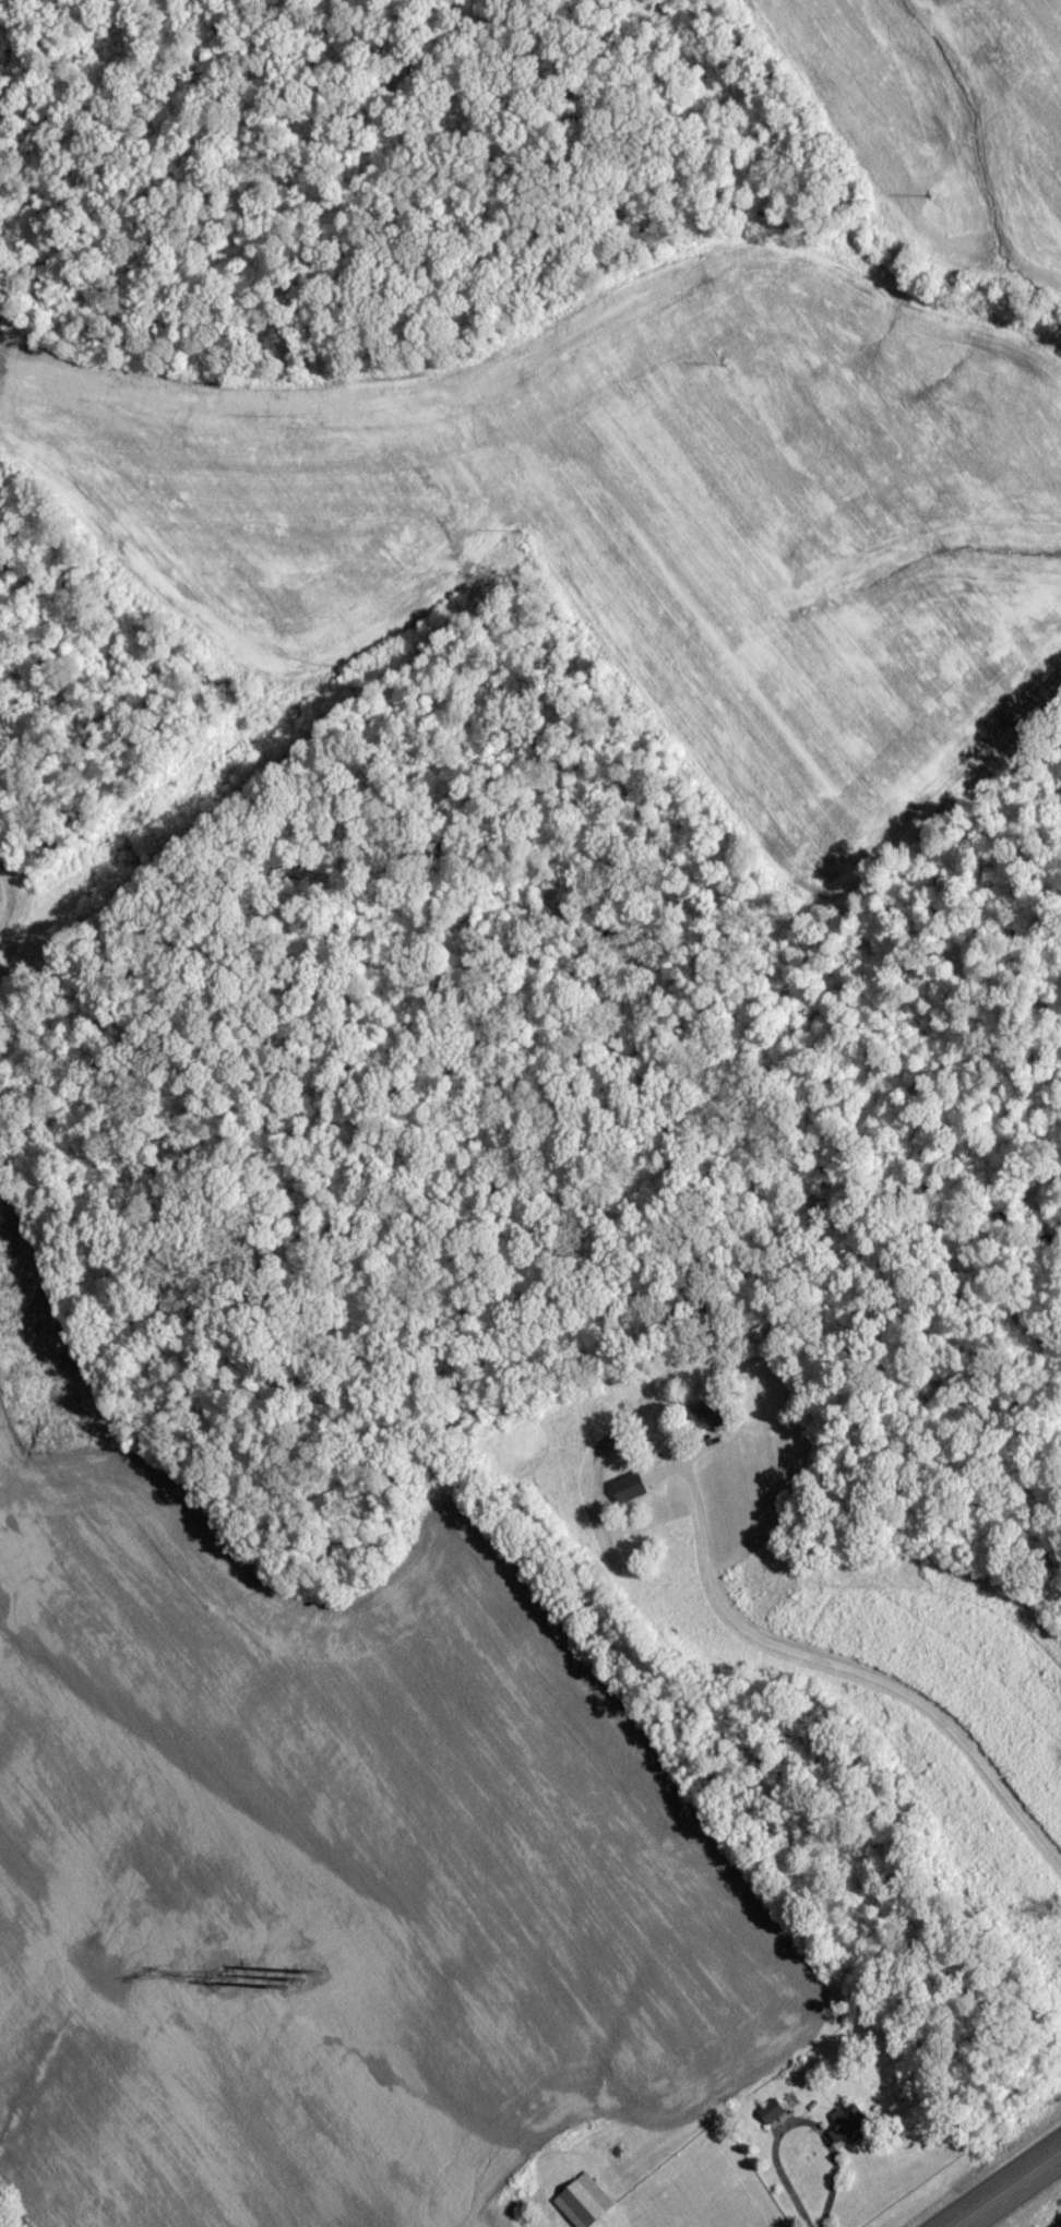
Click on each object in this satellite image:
road: (848, 1677)
power tower: (290, 1954)
power tower: (223, 1984)
road: (1006, 2189)
building: (587, 2206)

